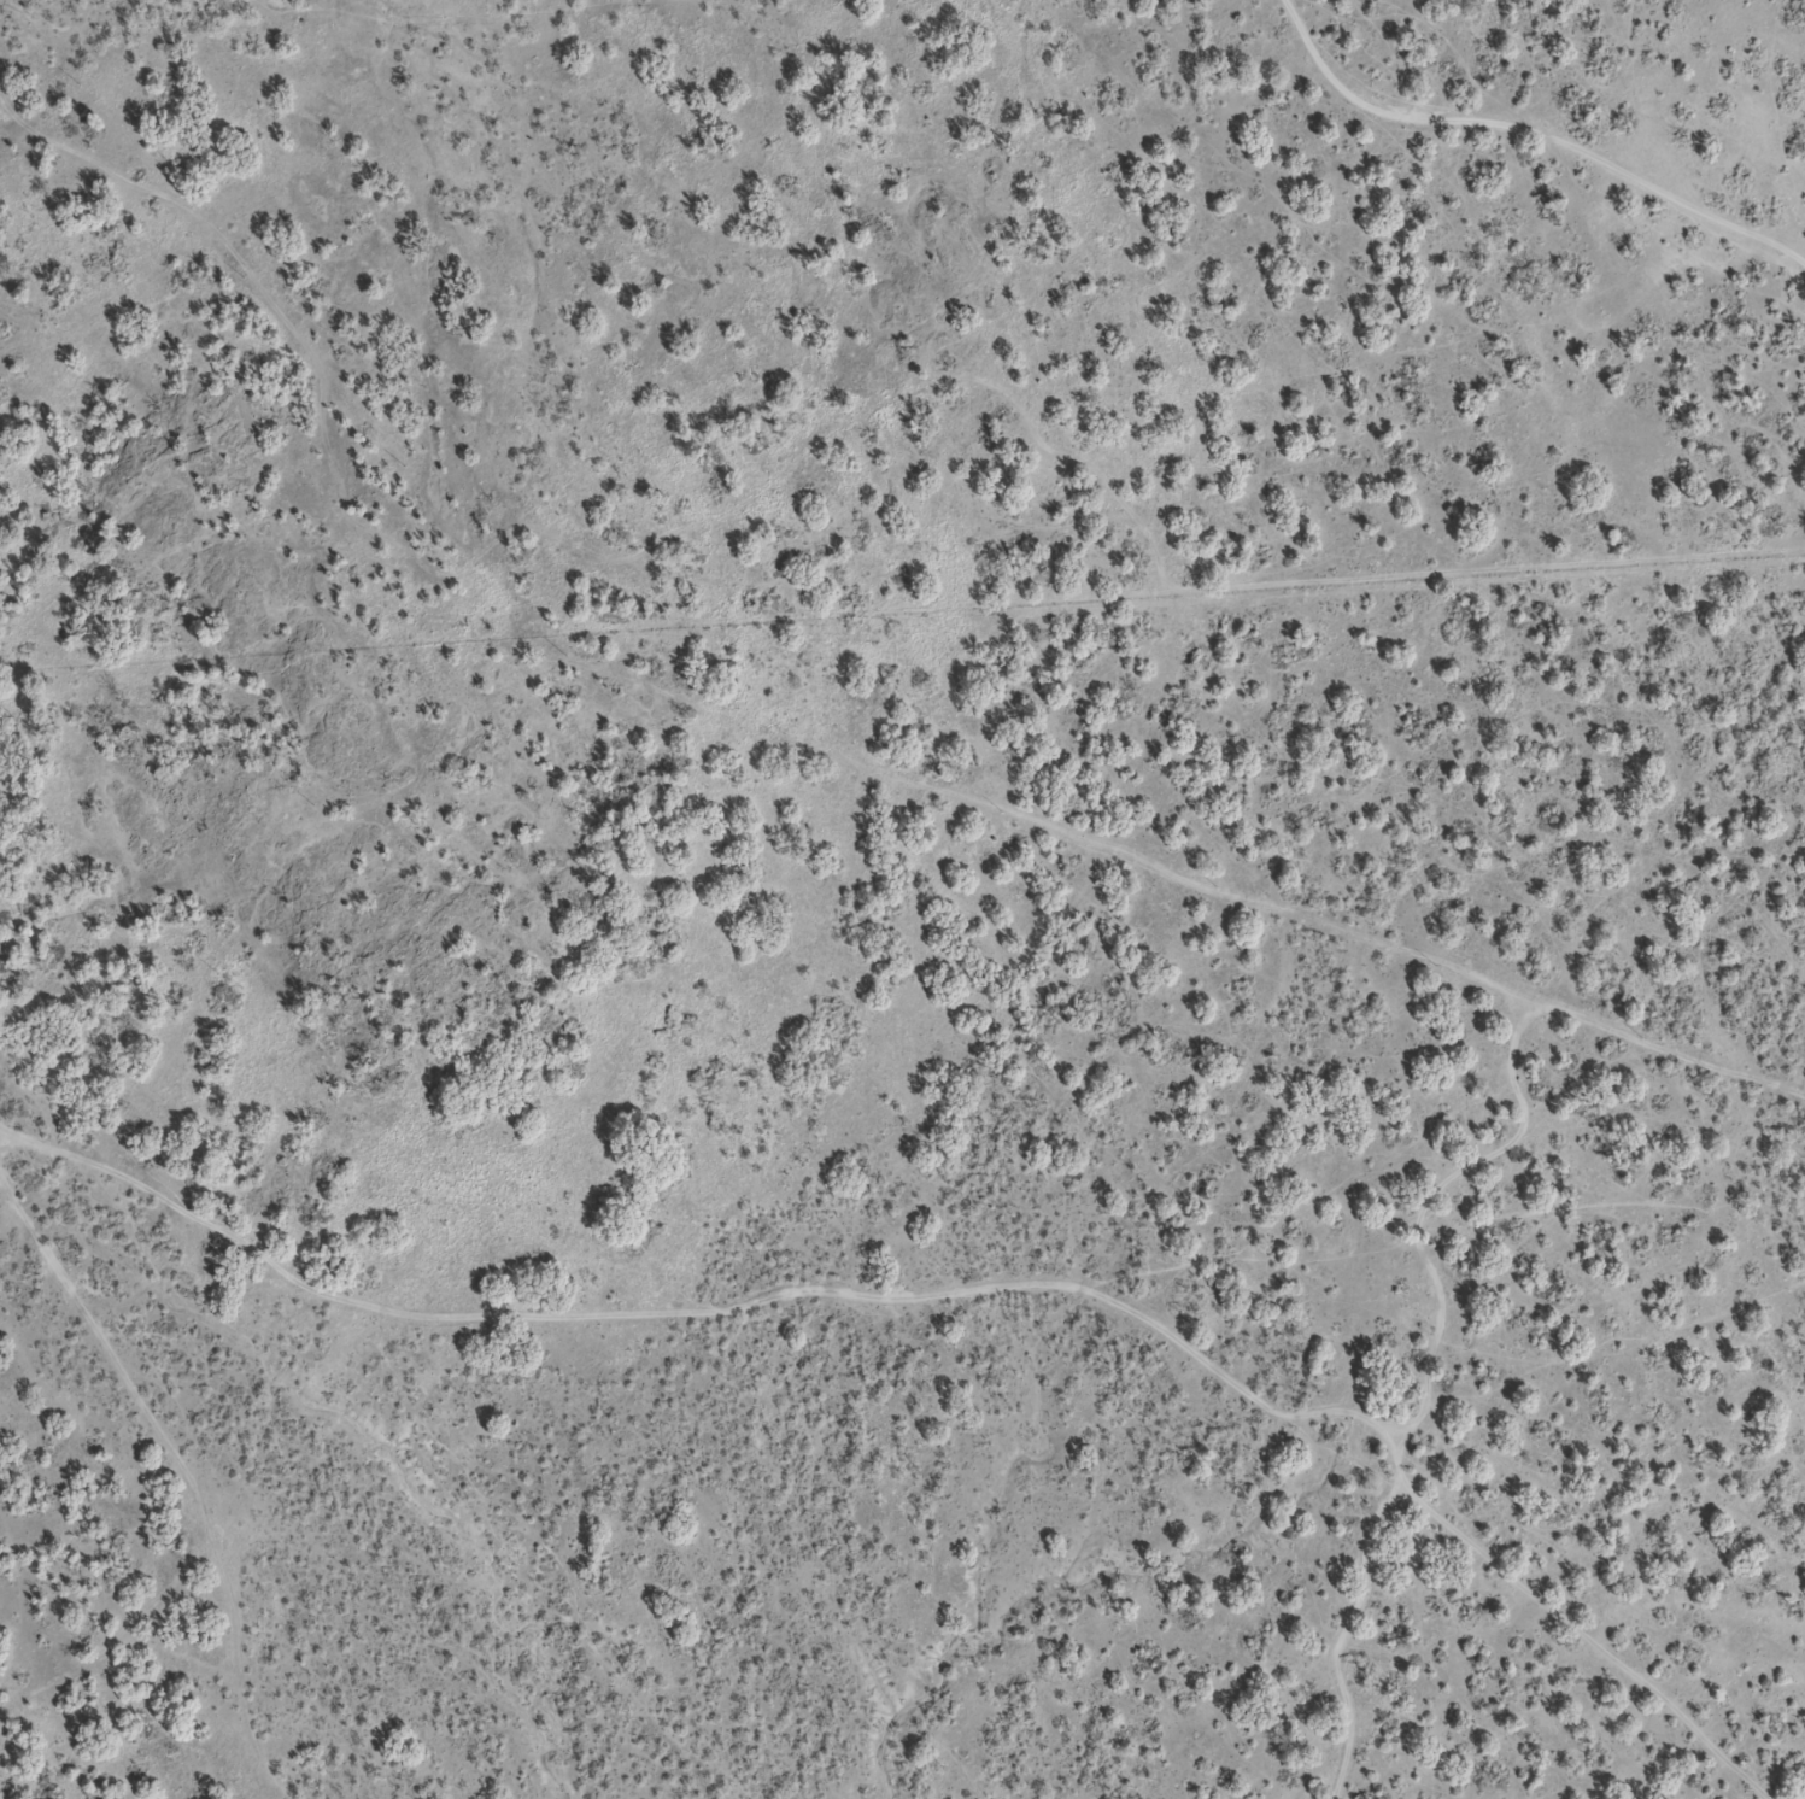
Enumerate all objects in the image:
road: (1534, 142)

